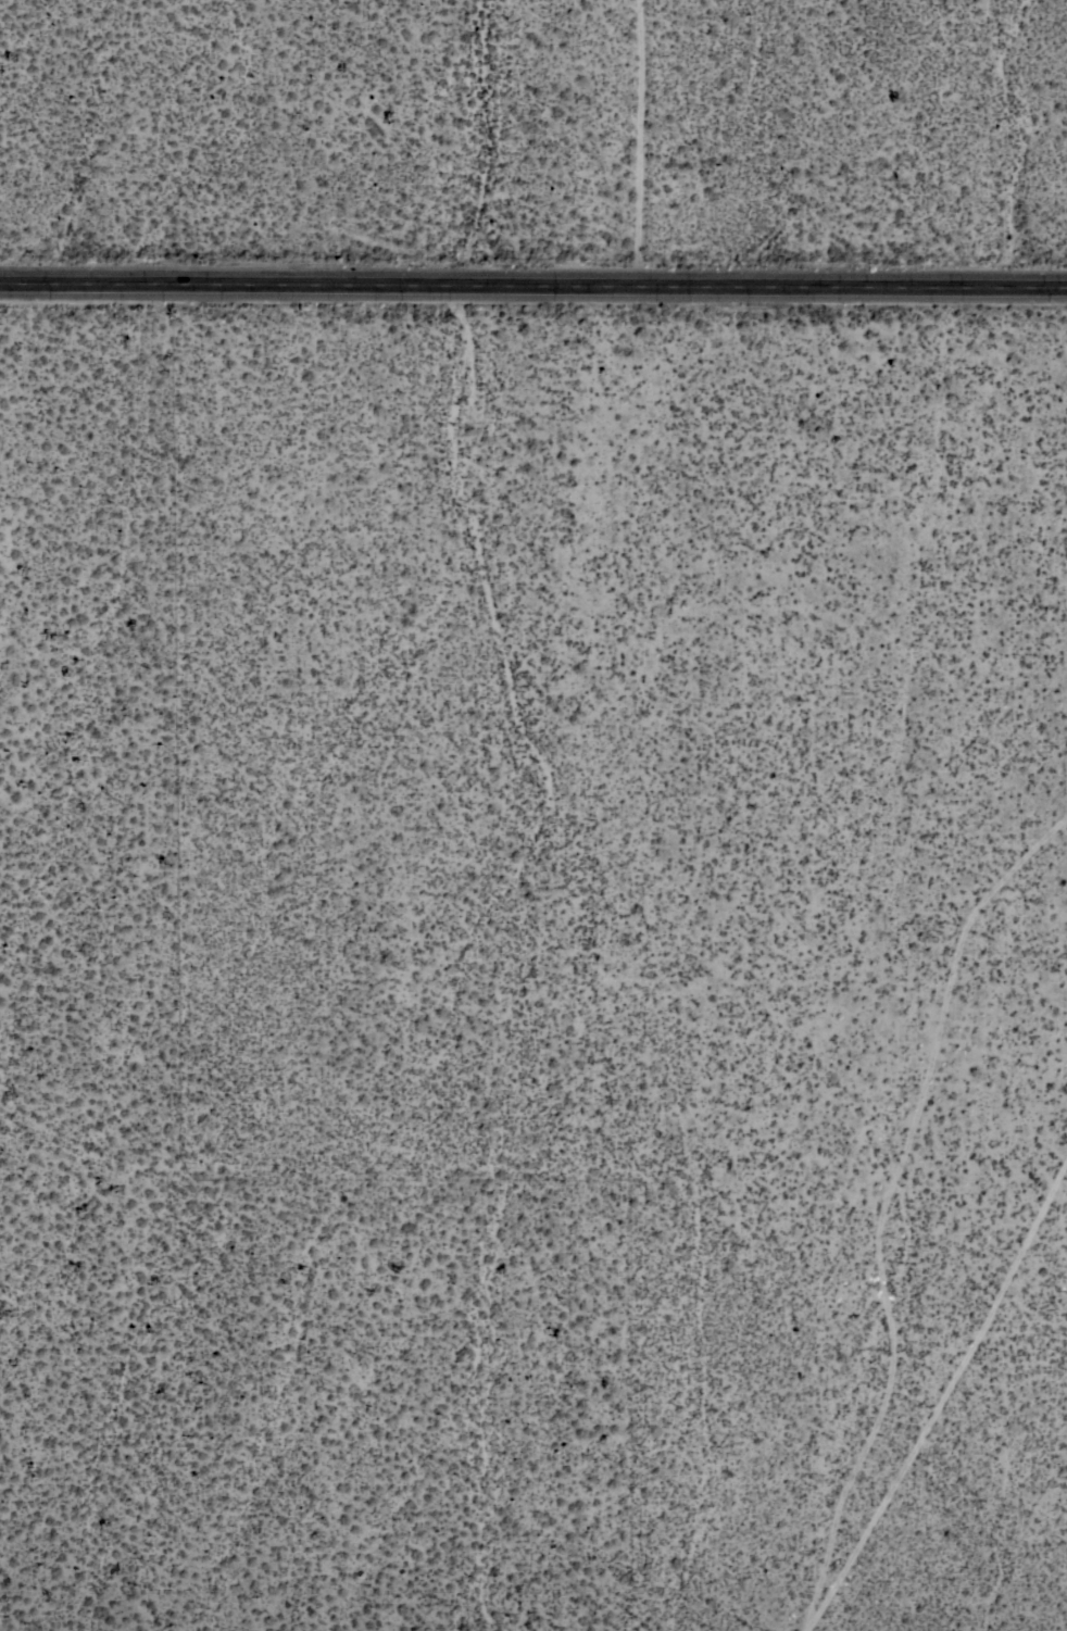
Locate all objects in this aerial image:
road: (533, 287)

